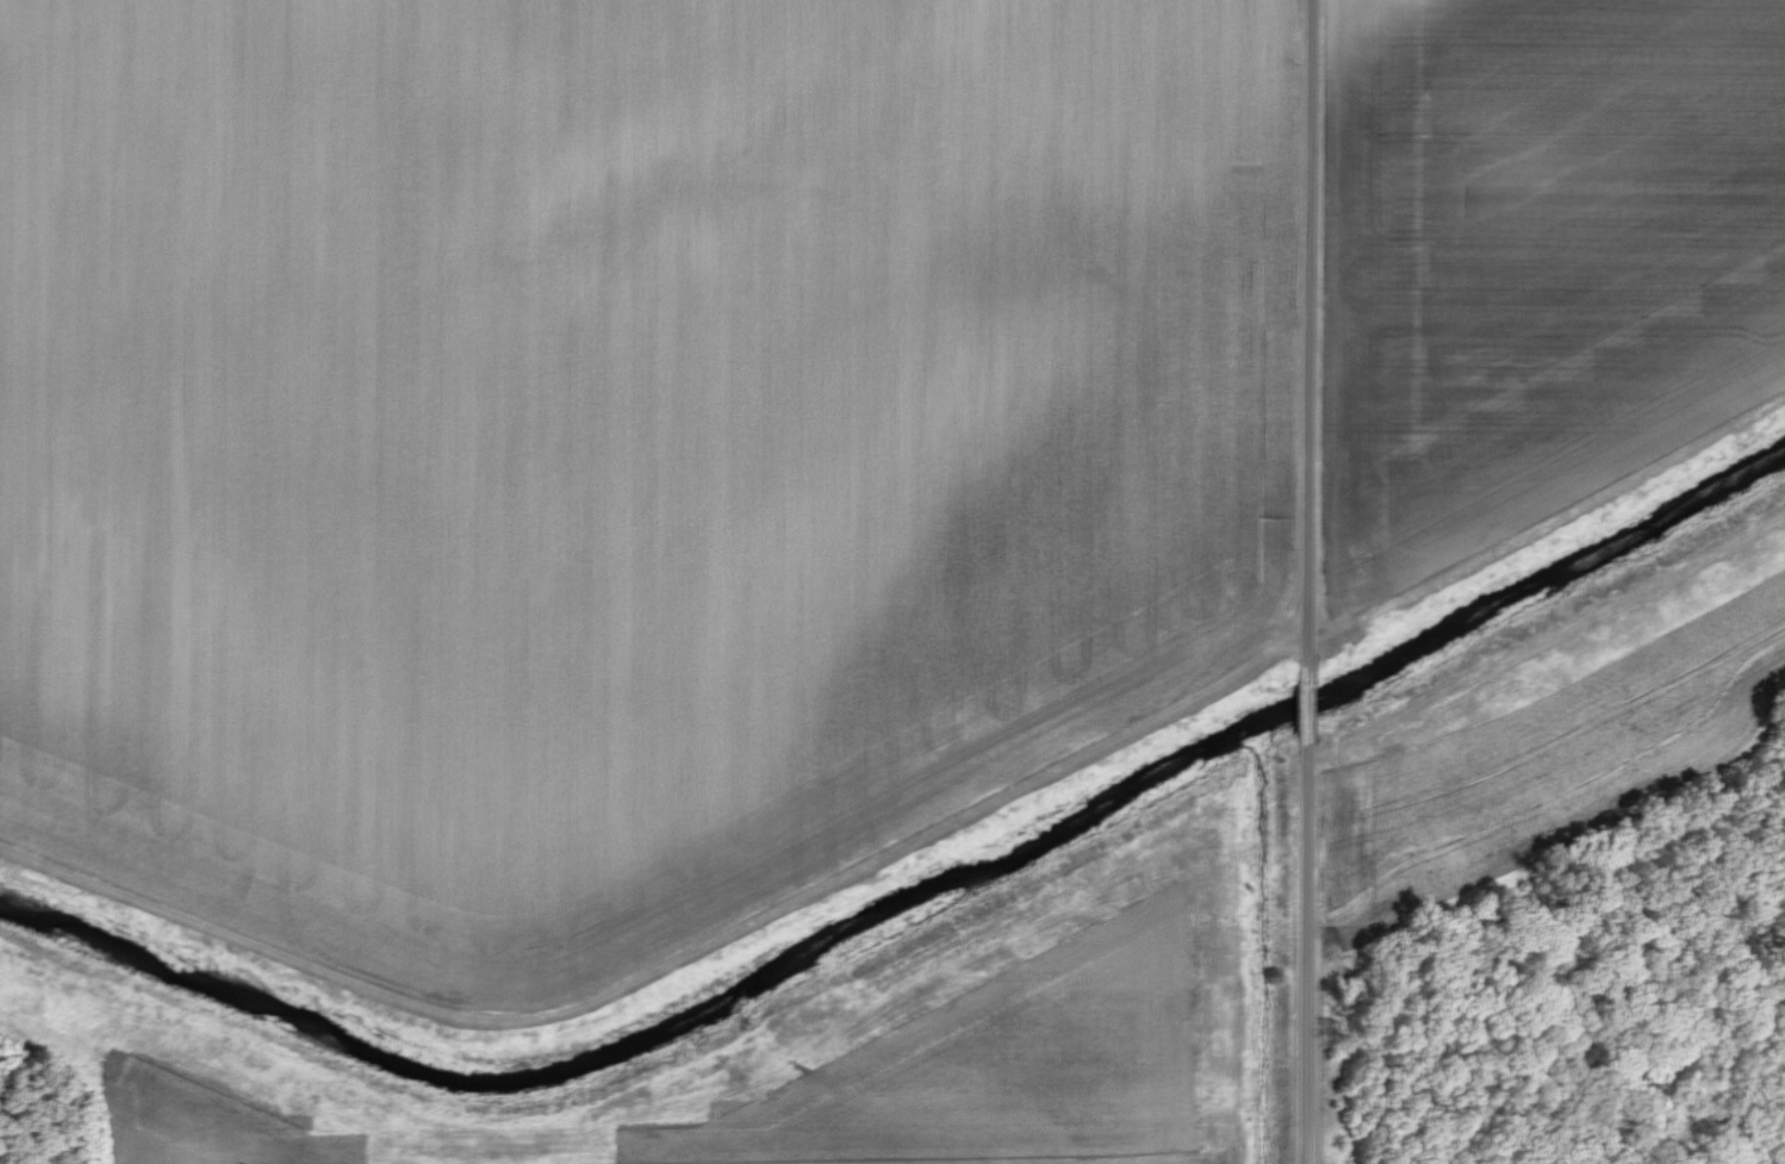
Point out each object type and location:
road: (1307, 581)

